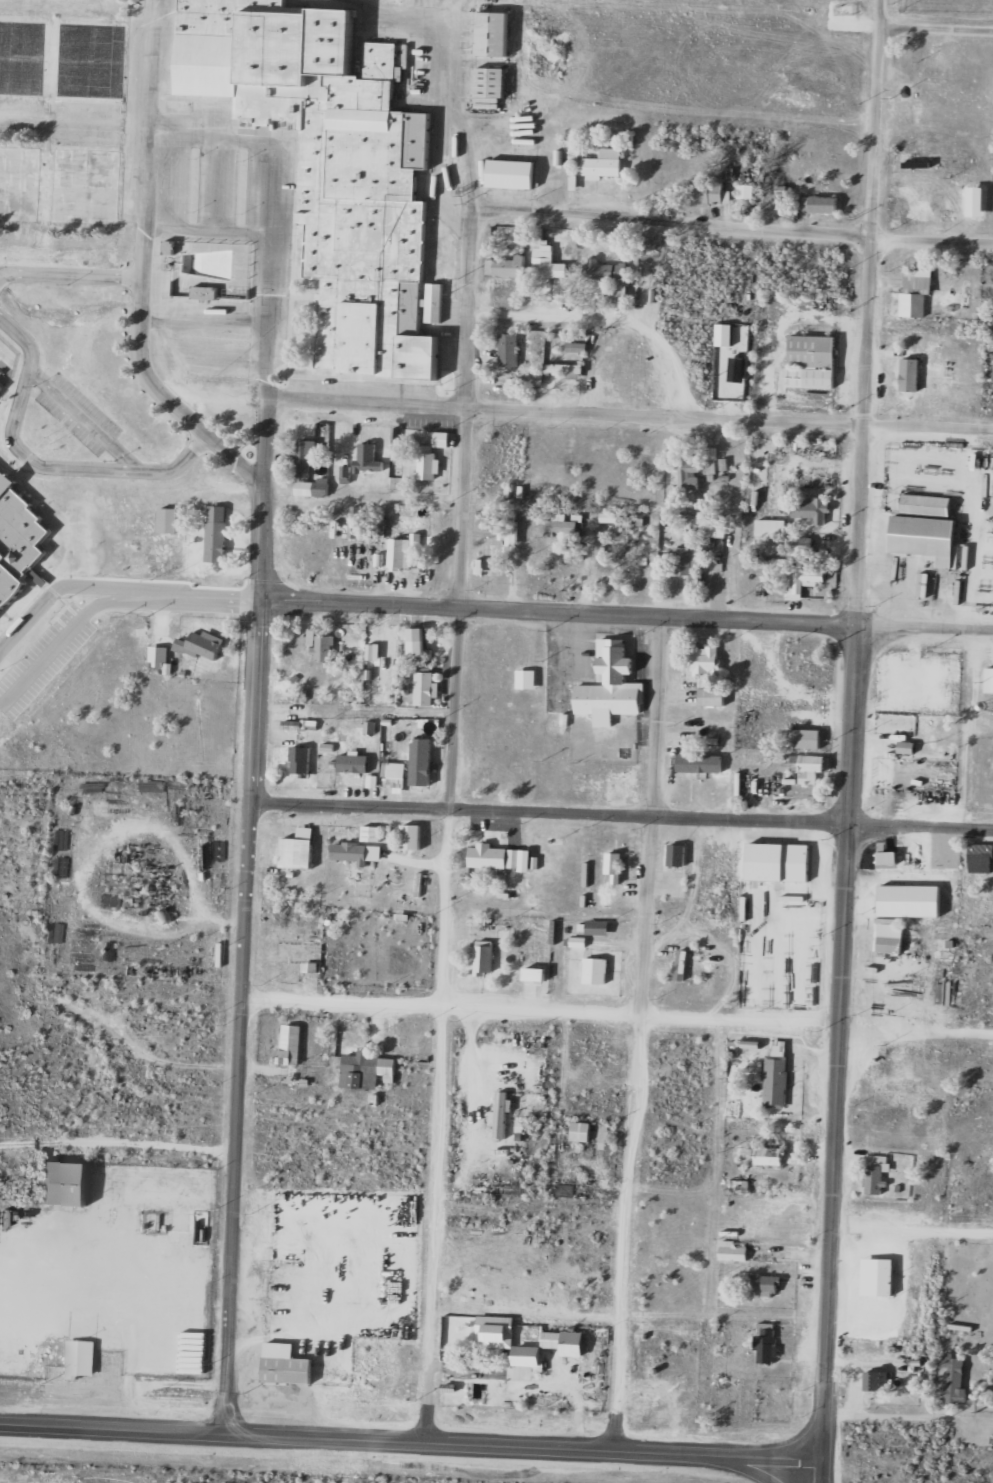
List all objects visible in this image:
road: (882, 12)
road: (937, 28)
building: (494, 34)
park: (57, 57)
building: (491, 83)
road: (456, 105)
building: (605, 164)
building: (330, 166)
building: (512, 173)
park: (60, 183)
building: (747, 191)
building: (708, 192)
building: (820, 203)
road: (732, 227)
building: (548, 258)
building: (510, 266)
road: (142, 269)
road: (70, 273)
building: (614, 276)
building: (917, 291)
building: (579, 348)
building: (509, 349)
building: (812, 361)
building: (566, 368)
road: (630, 414)
road: (92, 426)
building: (308, 456)
building: (432, 456)
building: (370, 457)
building: (712, 460)
building: (690, 473)
building: (314, 488)
building: (927, 503)
building: (811, 508)
building: (170, 520)
building: (484, 524)
building: (563, 527)
building: (719, 527)
building: (772, 527)
building: (379, 529)
building: (511, 531)
building: (218, 533)
building: (925, 536)
building: (305, 550)
building: (407, 552)
building: (487, 560)
building: (691, 563)
building: (616, 576)
building: (803, 580)
road: (116, 588)
road: (627, 615)
building: (418, 641)
building: (204, 644)
road: (59, 647)
building: (327, 647)
building: (809, 653)
building: (161, 655)
building: (706, 660)
building: (50, 676)
building: (989, 679)
building: (613, 683)
building: (426, 688)
building: (713, 696)
building: (806, 738)
road: (854, 742)
building: (302, 760)
building: (355, 763)
building: (701, 763)
building: (392, 766)
building: (808, 767)
road: (622, 816)
road: (453, 825)
building: (373, 833)
building: (412, 837)
building: (67, 839)
building: (299, 849)
building: (357, 852)
building: (678, 854)
building: (496, 857)
building: (889, 857)
building: (981, 858)
building: (780, 861)
building: (615, 867)
building: (117, 868)
road: (248, 915)
building: (599, 927)
building: (891, 937)
building: (486, 957)
building: (682, 965)
building: (597, 970)
building: (536, 973)
building: (916, 986)
road: (619, 1012)
road: (641, 1033)
building: (292, 1046)
building: (369, 1071)
building: (778, 1074)
building: (582, 1132)
building: (771, 1156)
building: (876, 1179)
building: (64, 1184)
road: (914, 1227)
building: (735, 1250)
building: (766, 1285)
building: (554, 1340)
building: (488, 1341)
building: (767, 1343)
building: (83, 1359)
building: (287, 1365)
building: (956, 1379)
building: (878, 1381)
road: (27, 1427)
road: (439, 1440)
road: (746, 1466)
road: (824, 1471)

